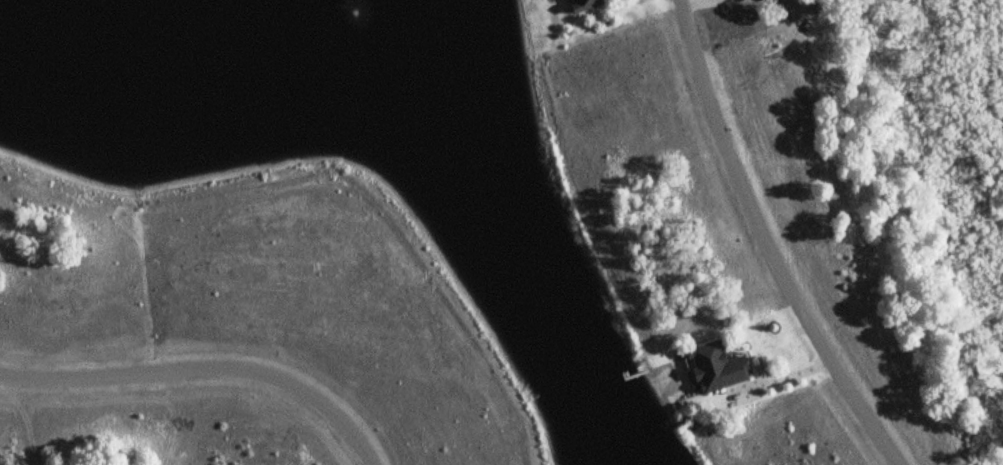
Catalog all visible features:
building: (596, 3)
road: (767, 242)
building: (719, 365)
road: (204, 368)

